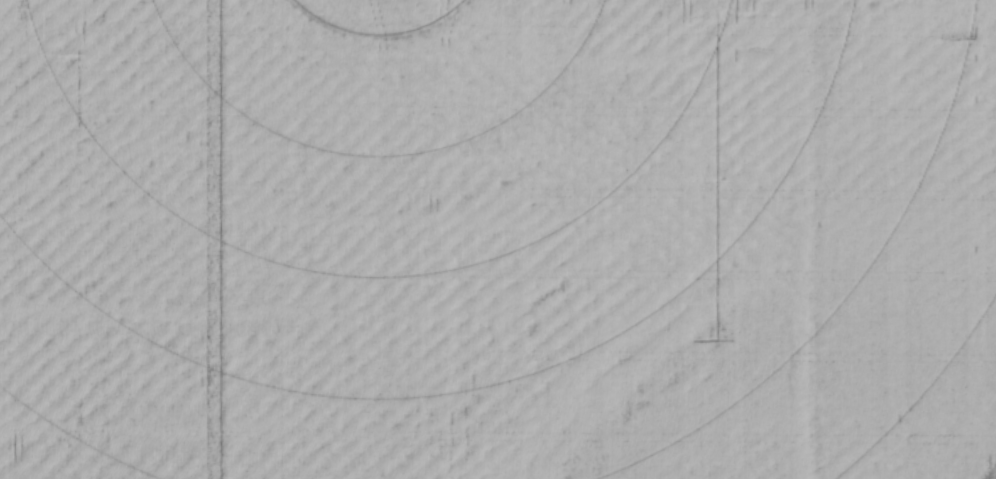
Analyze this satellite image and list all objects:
crop: (498, 239)

